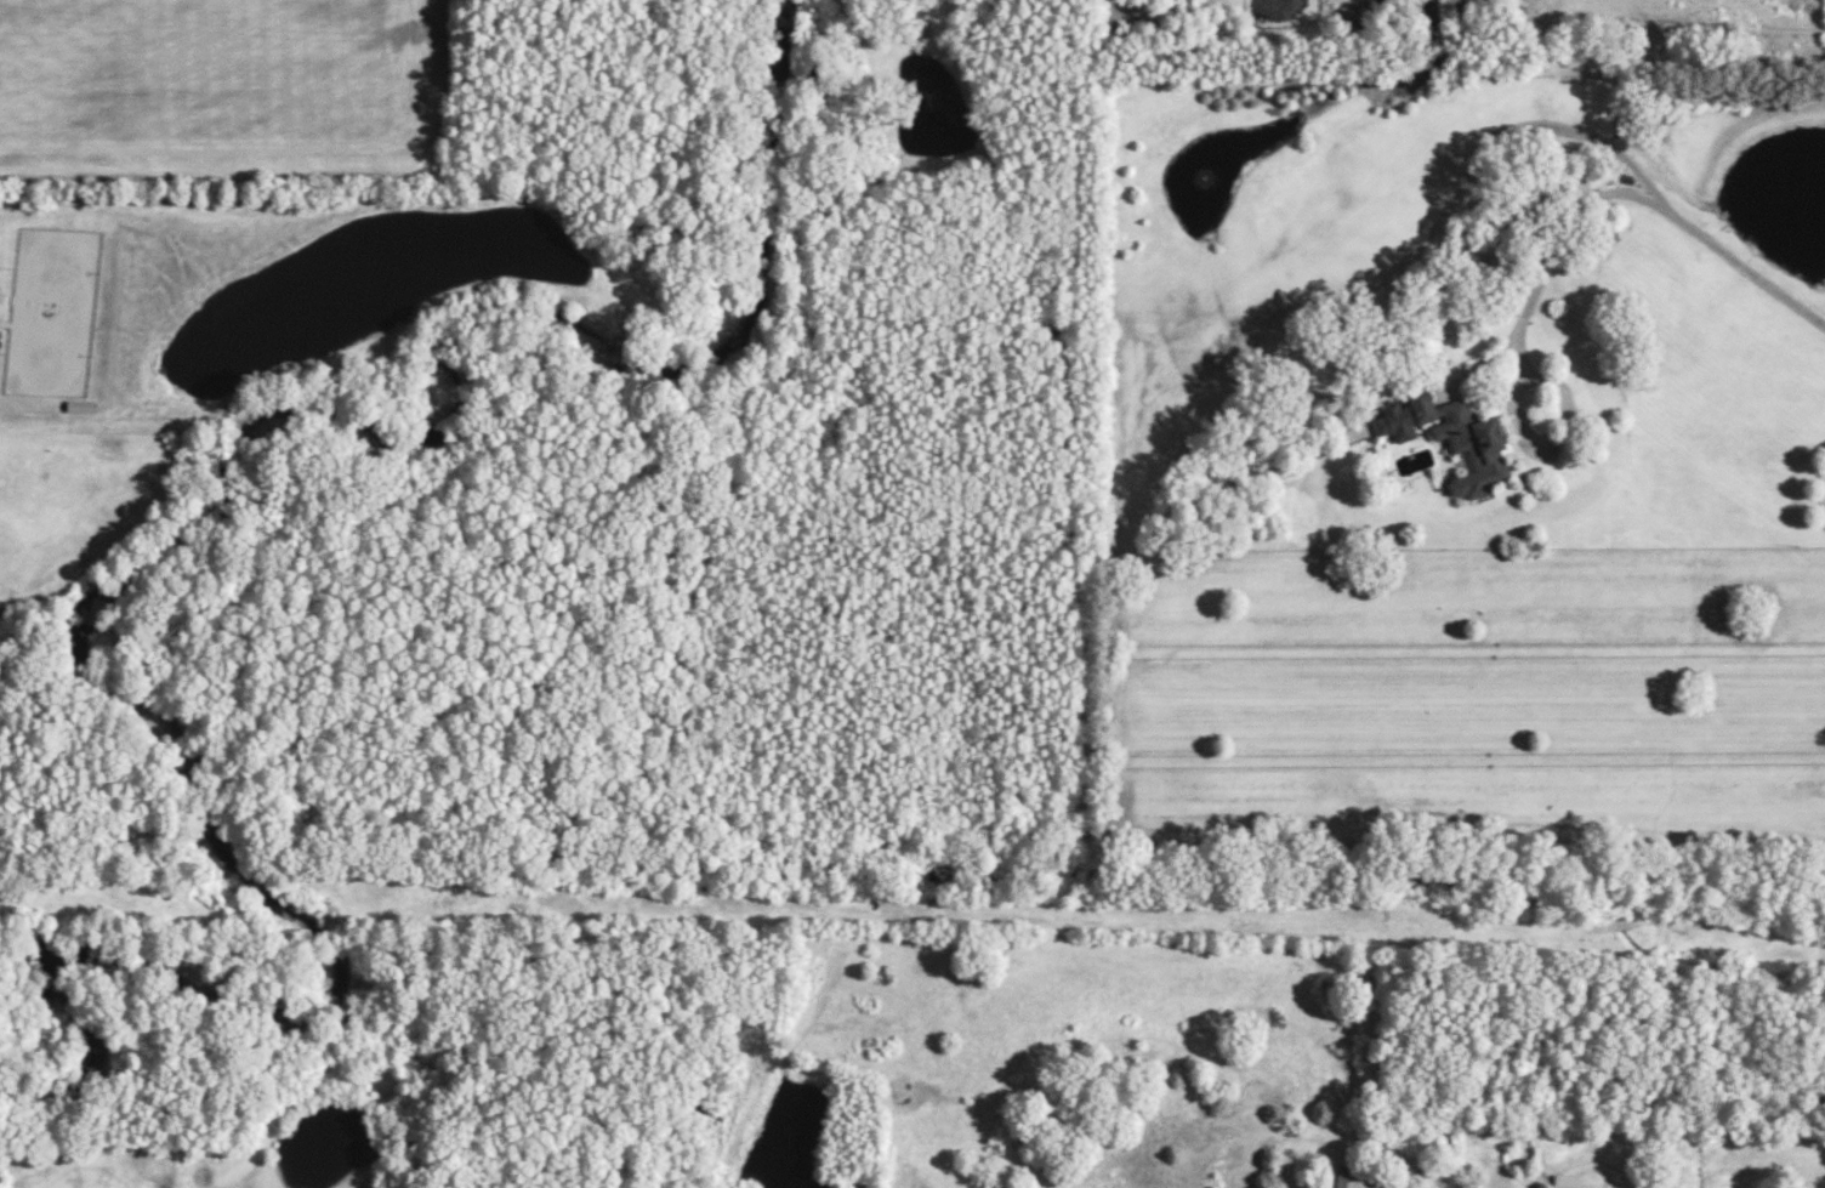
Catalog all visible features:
road: (1559, 227)
road: (1417, 246)
road: (1727, 248)
building: (80, 404)
building: (1449, 432)
road: (1524, 439)
building: (1563, 1180)

